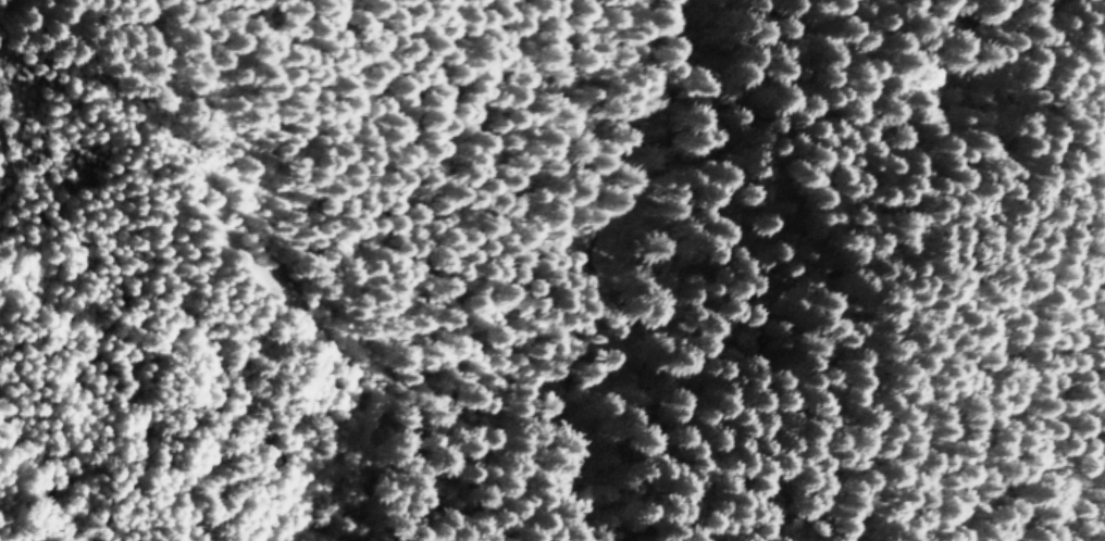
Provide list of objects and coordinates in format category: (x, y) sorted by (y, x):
road: (330, 433)

